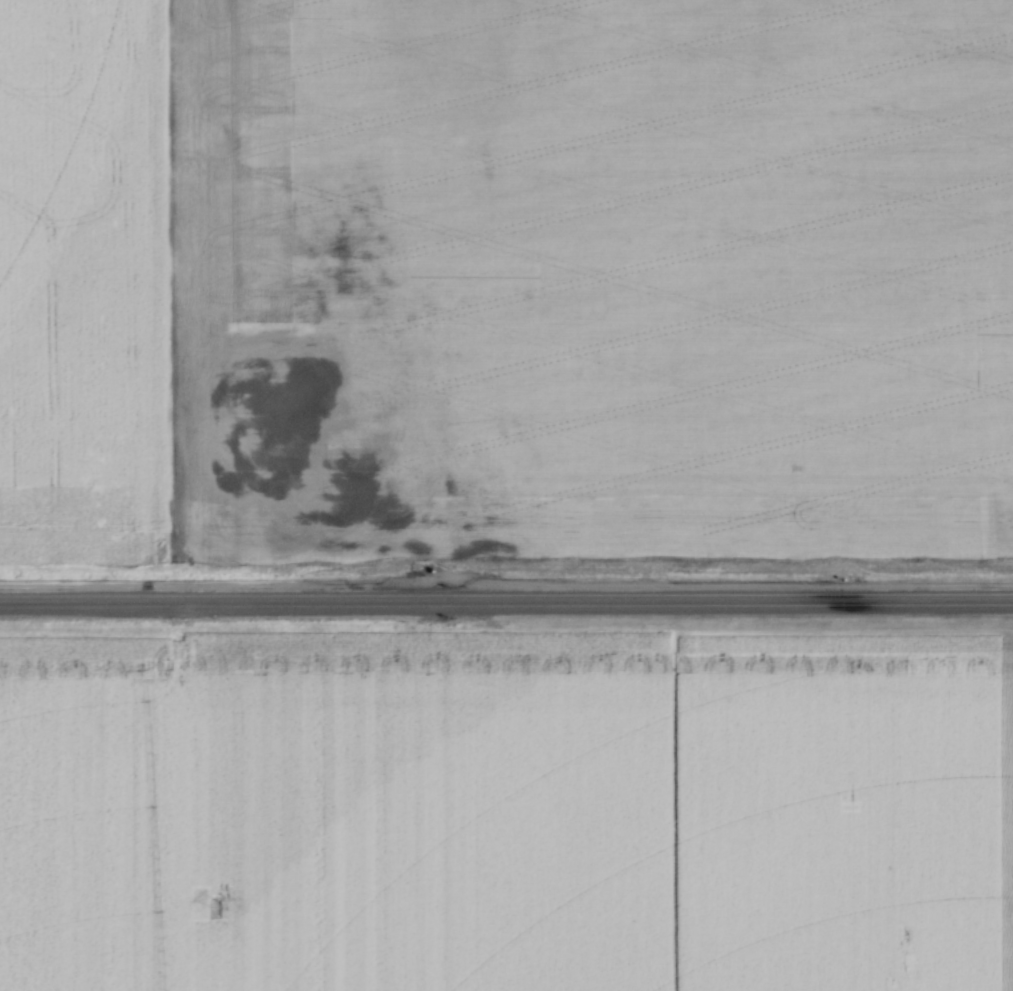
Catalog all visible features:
railway: (506, 594)
railway: (506, 607)
power tower: (212, 904)

